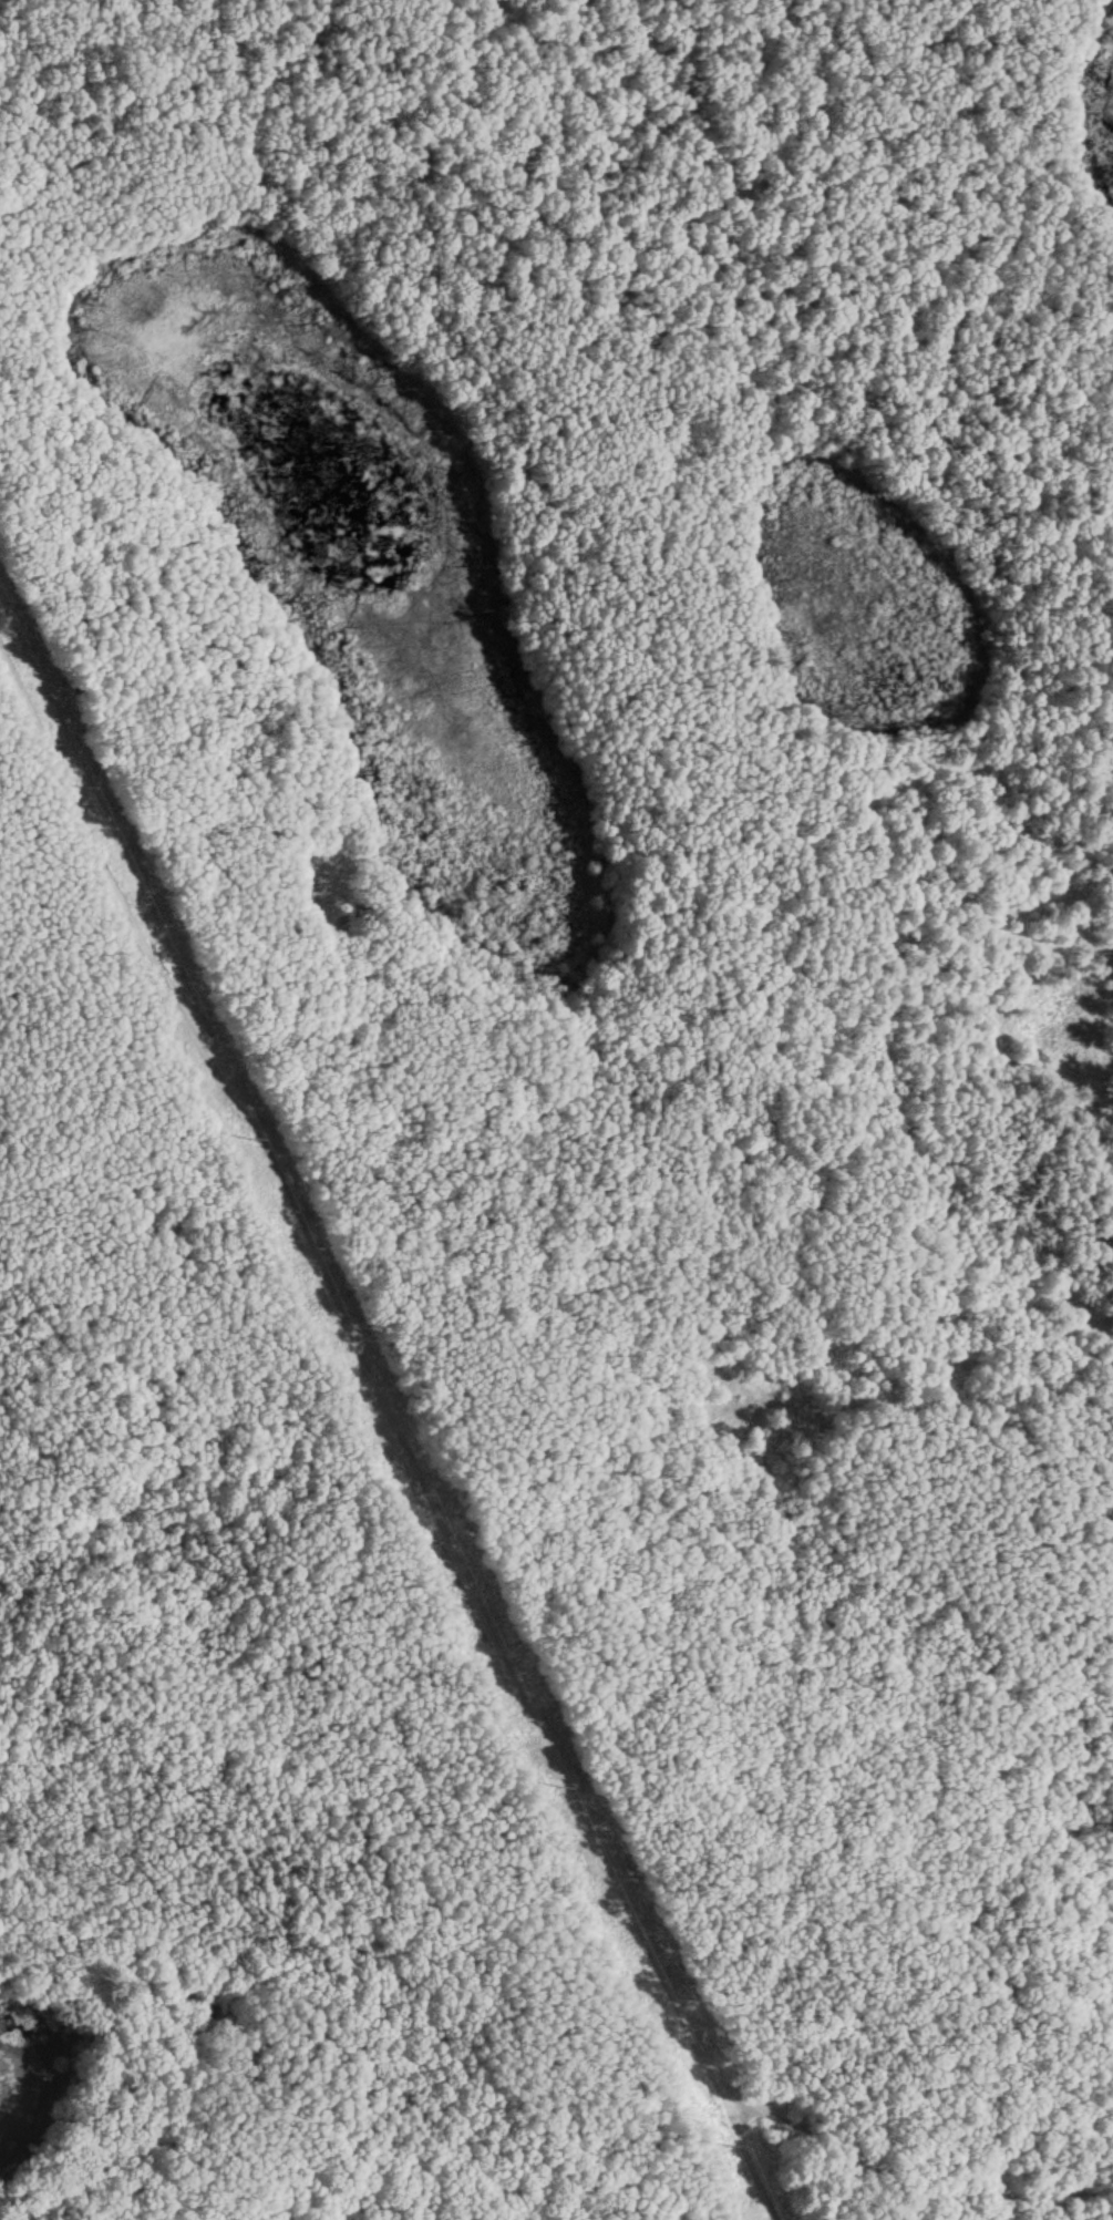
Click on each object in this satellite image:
road: (729, 326)
road: (364, 1351)
road: (751, 2164)
road: (910, 2191)

